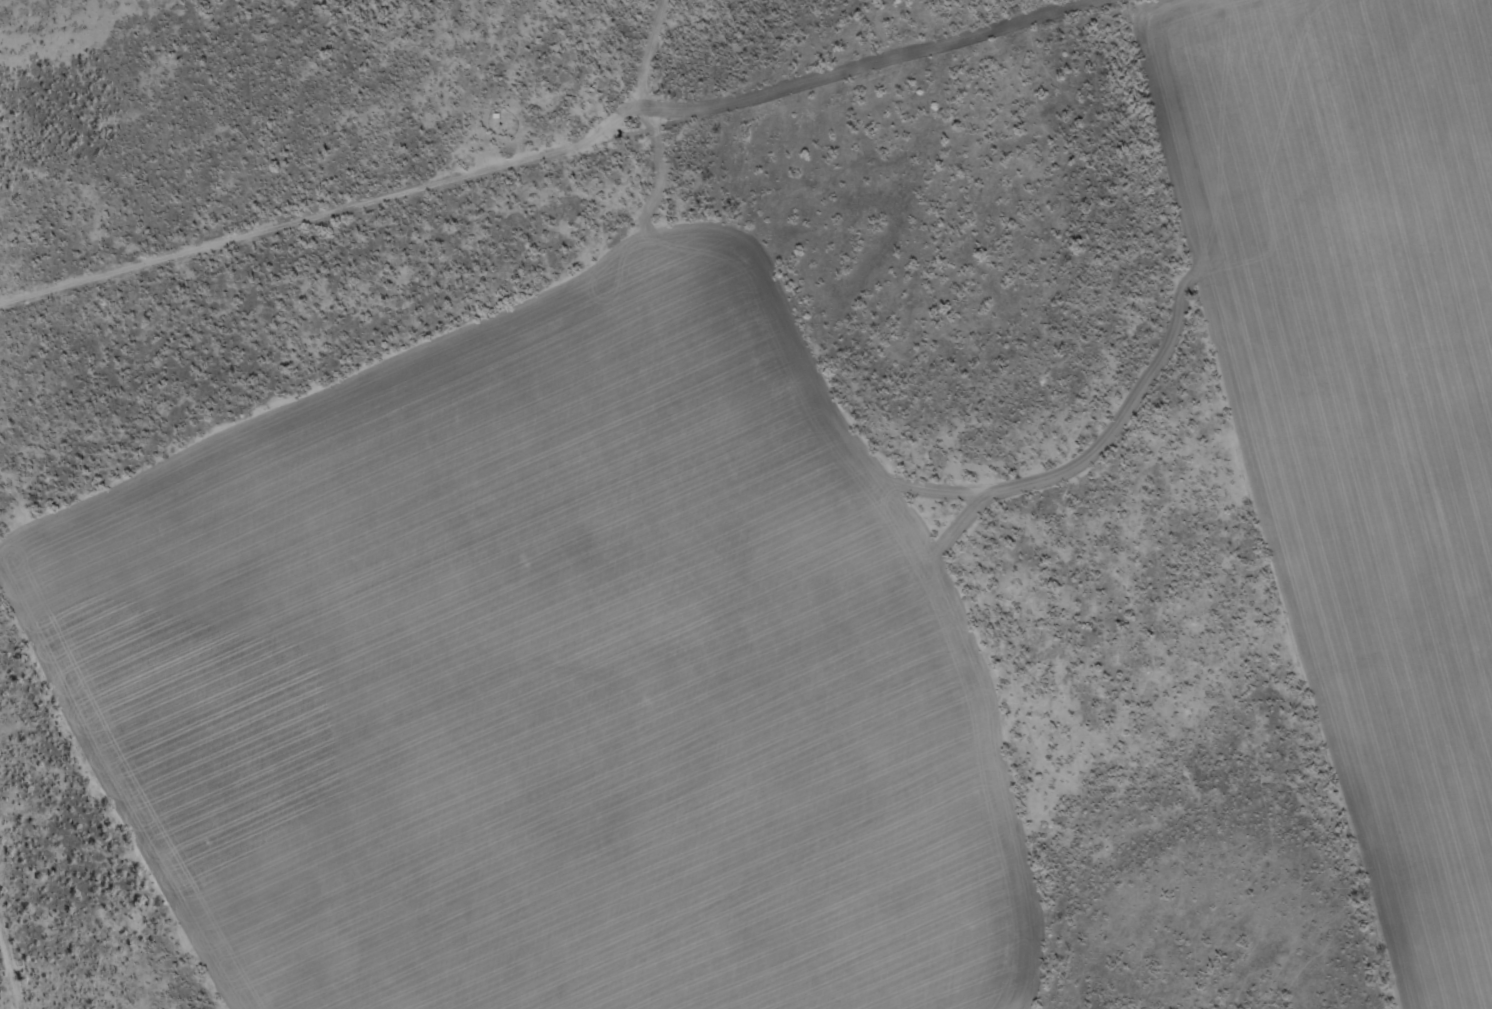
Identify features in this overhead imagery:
road: (30, 885)

